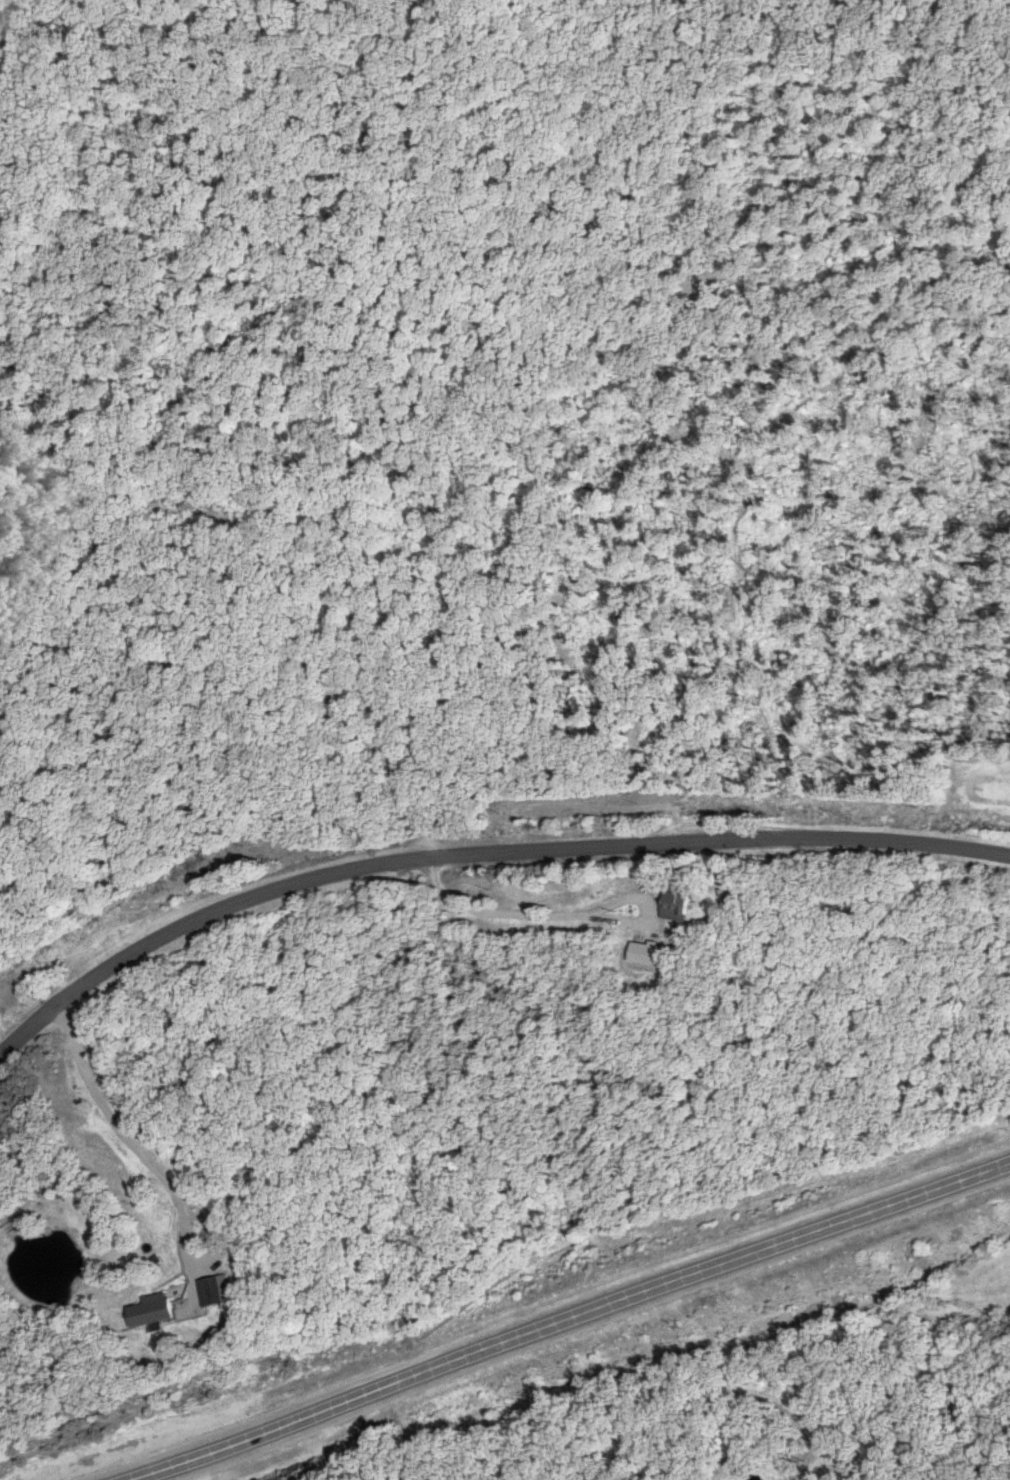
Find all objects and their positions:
road: (169, 564)
road: (257, 682)
road: (477, 855)
road: (621, 897)
building: (667, 907)
road: (496, 909)
road: (100, 1111)
road: (213, 1228)
building: (206, 1291)
building: (143, 1311)
road: (576, 1315)

